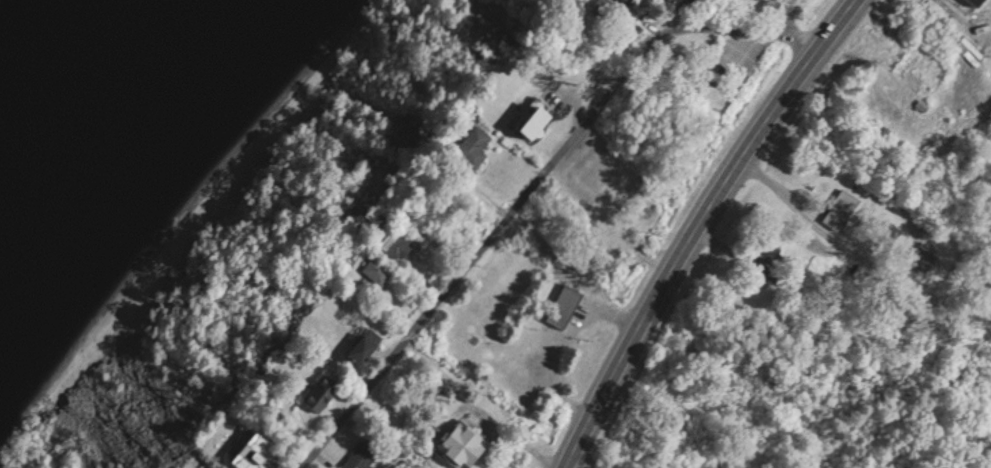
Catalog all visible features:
building: (674, 1)
building: (622, 2)
building: (977, 3)
building: (604, 10)
road: (795, 17)
building: (539, 120)
building: (474, 146)
road: (529, 185)
road: (785, 196)
road: (700, 225)
building: (378, 273)
building: (566, 307)
building: (369, 348)
building: (326, 395)
building: (467, 447)
building: (257, 453)
building: (361, 457)

